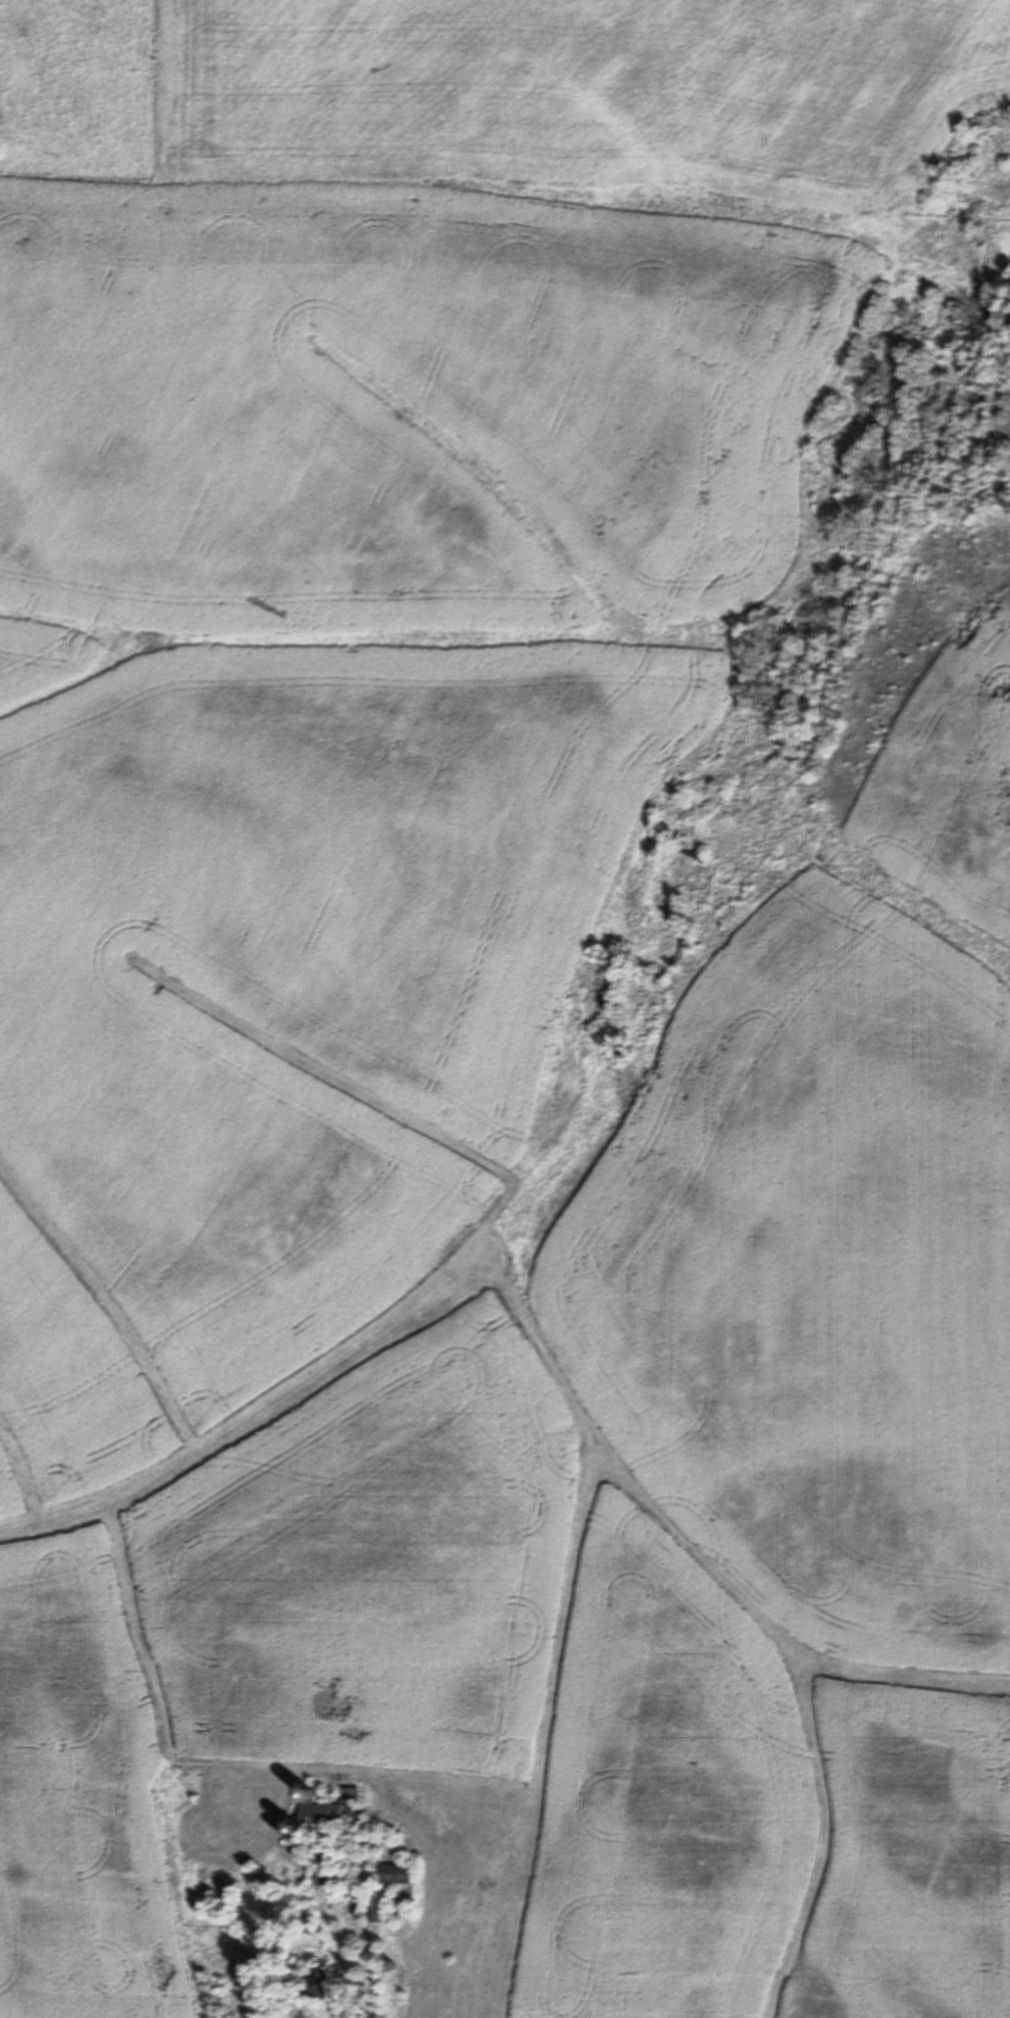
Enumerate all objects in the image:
building: (335, 1809)
building: (394, 1873)
building: (332, 1876)
building: (374, 1905)
building: (303, 1925)

